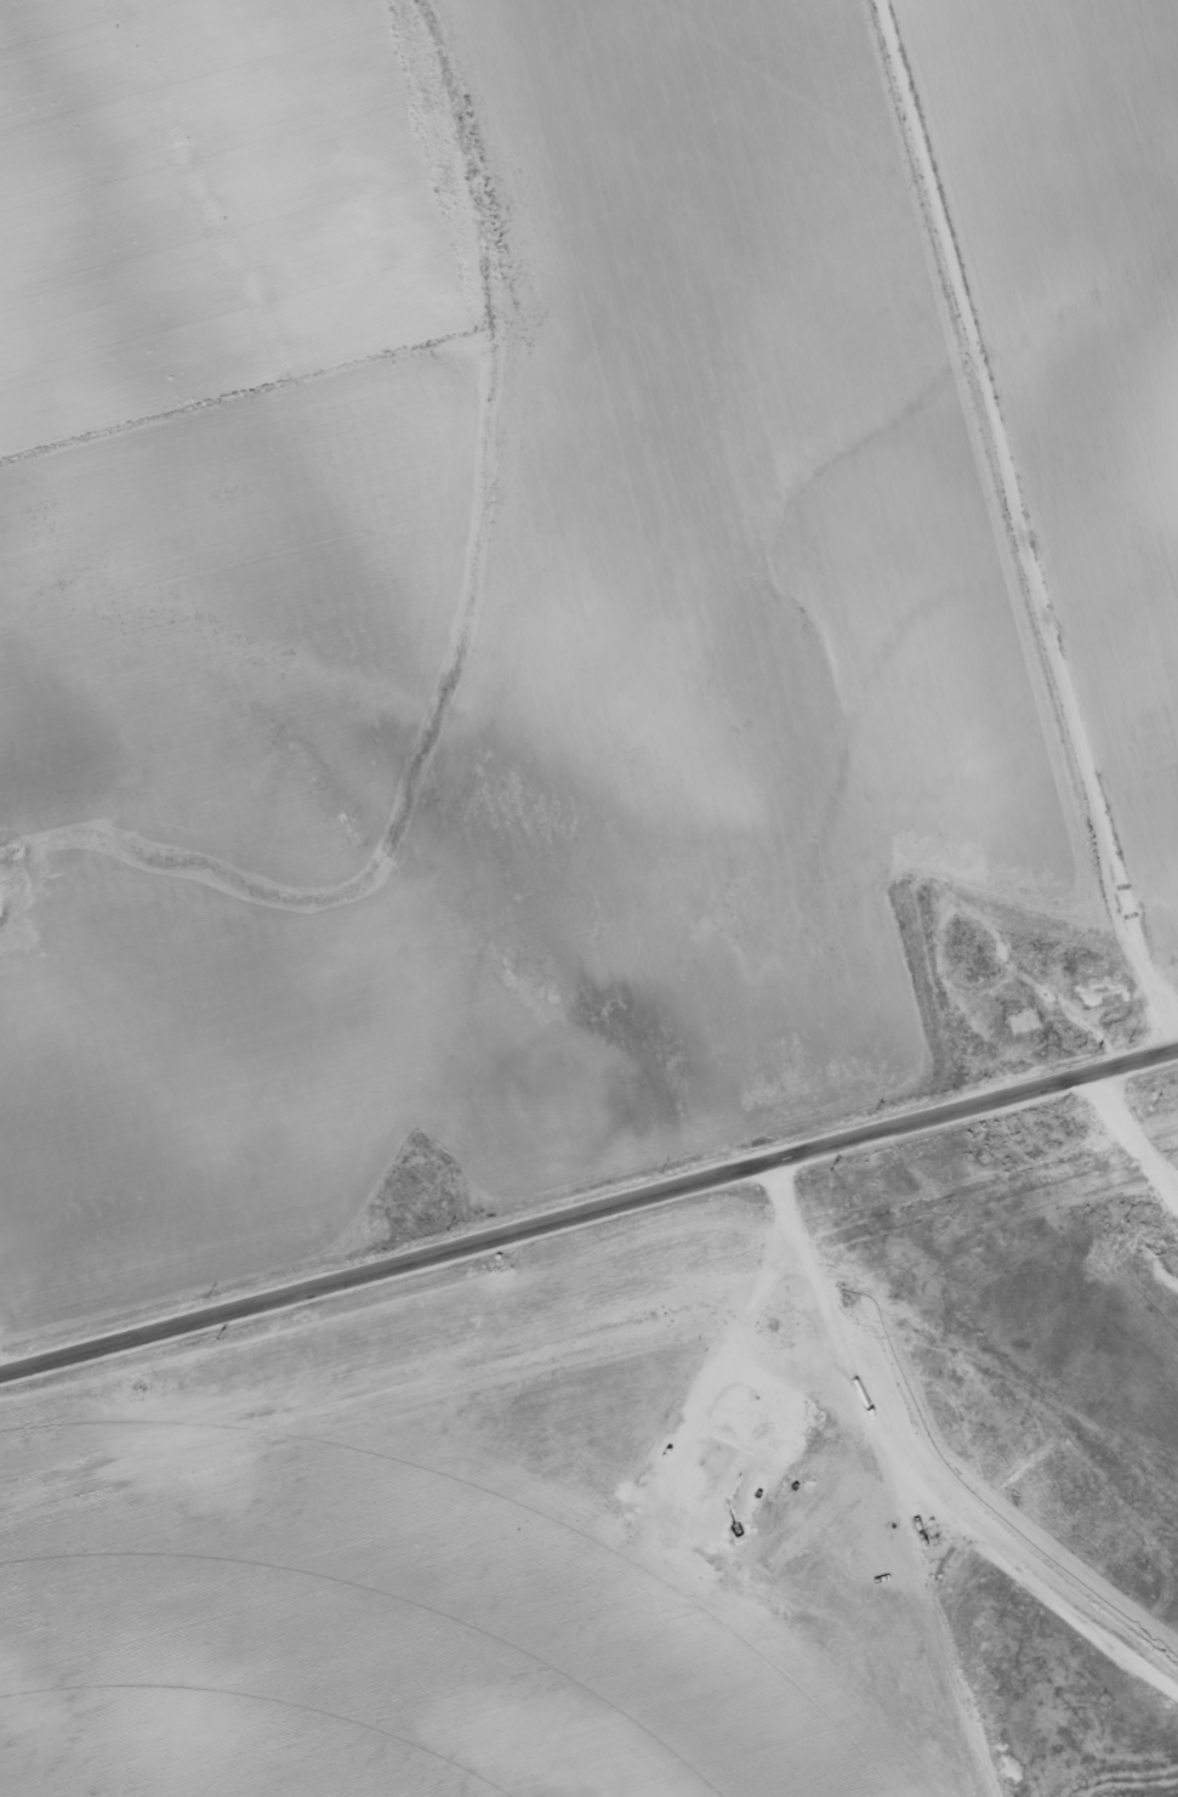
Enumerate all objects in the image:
river: (517, 794)
road: (1133, 1140)
road: (587, 1201)

